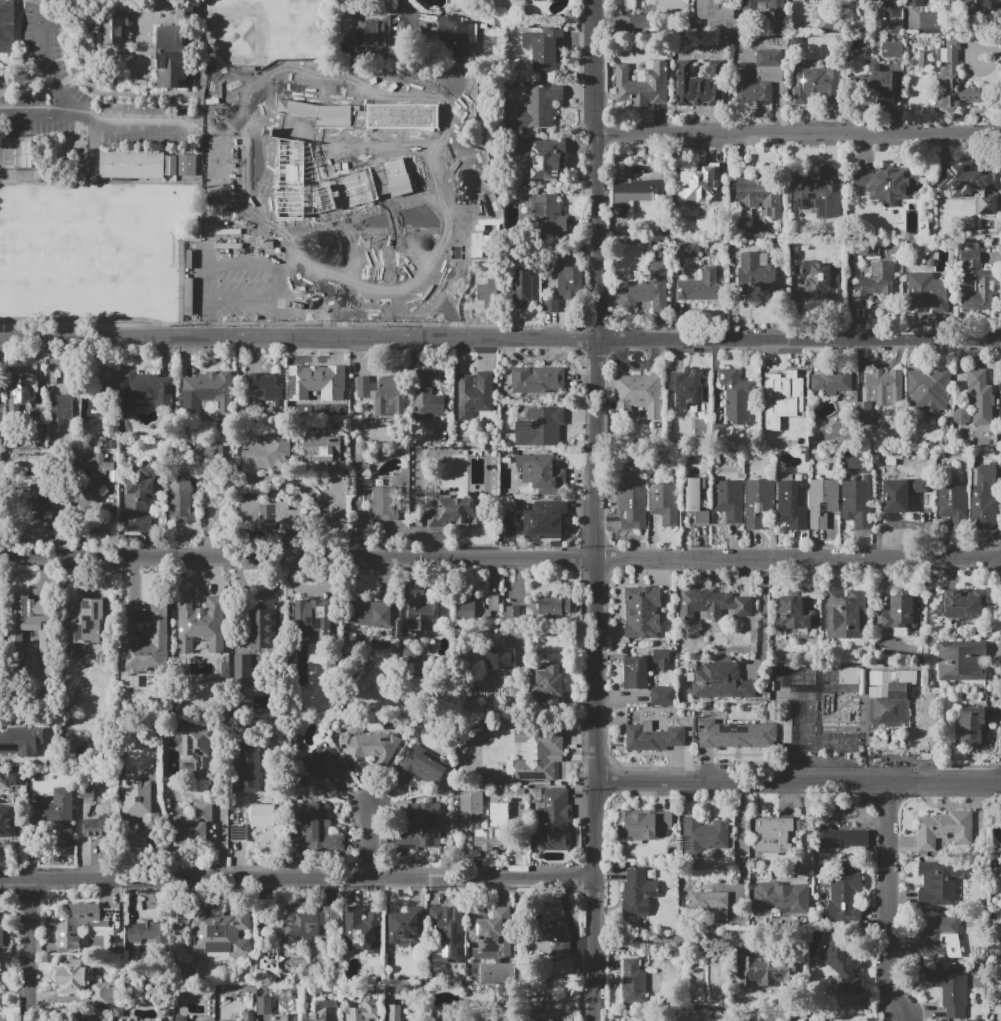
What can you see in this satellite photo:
building: (916, 3)
building: (762, 5)
building: (980, 7)
road: (405, 10)
building: (714, 10)
building: (889, 10)
building: (186, 12)
building: (634, 22)
building: (929, 22)
building: (9, 27)
building: (112, 27)
building: (896, 30)
building: (369, 31)
park: (266, 33)
park: (269, 33)
road: (331, 35)
building: (456, 39)
building: (893, 49)
building: (541, 51)
building: (170, 56)
building: (922, 58)
road: (44, 60)
road: (593, 66)
road: (269, 71)
road: (25, 76)
road: (351, 77)
building: (760, 77)
building: (872, 78)
building: (954, 80)
building: (816, 82)
park: (305, 84)
building: (642, 84)
building: (700, 84)
road: (51, 86)
road: (429, 91)
road: (21, 92)
road: (175, 94)
parking lot: (71, 97)
building: (406, 104)
building: (540, 106)
road: (39, 111)
road: (136, 123)
road: (222, 130)
road: (797, 132)
road: (210, 139)
building: (396, 158)
building: (547, 159)
building: (293, 160)
road: (342, 161)
building: (132, 165)
building: (170, 165)
building: (187, 165)
building: (698, 183)
building: (887, 183)
building: (968, 186)
building: (638, 187)
building: (819, 192)
building: (760, 194)
road: (421, 197)
building: (402, 212)
building: (546, 214)
road: (596, 237)
road: (222, 248)
building: (869, 248)
building: (686, 250)
road: (332, 252)
park: (88, 253)
parking lot: (304, 264)
building: (384, 264)
building: (756, 271)
building: (820, 279)
building: (569, 281)
building: (875, 283)
building: (975, 284)
building: (701, 287)
building: (646, 289)
building: (522, 290)
building: (927, 291)
building: (488, 294)
road: (332, 295)
road: (442, 295)
building: (551, 306)
road: (265, 339)
road: (563, 340)
road: (798, 343)
road: (638, 363)
building: (103, 378)
building: (537, 380)
building: (832, 381)
building: (312, 382)
building: (20, 384)
building: (268, 386)
building: (792, 388)
building: (929, 389)
building: (145, 390)
building: (206, 390)
building: (690, 390)
building: (381, 391)
building: (879, 392)
building: (734, 393)
building: (640, 394)
building: (426, 395)
building: (475, 397)
building: (979, 397)
building: (60, 407)
building: (960, 416)
building: (769, 422)
building: (541, 428)
road: (594, 450)
building: (206, 452)
building: (266, 452)
building: (325, 454)
building: (23, 460)
building: (95, 463)
building: (541, 472)
building: (903, 492)
building: (984, 498)
building: (698, 500)
building: (139, 501)
building: (179, 501)
building: (730, 501)
building: (857, 501)
building: (634, 502)
building: (760, 502)
building: (823, 502)
building: (666, 503)
building: (385, 504)
building: (793, 504)
building: (954, 504)
building: (41, 506)
building: (456, 513)
building: (271, 515)
building: (544, 517)
road: (297, 560)
road: (797, 560)
building: (714, 603)
building: (965, 603)
building: (550, 606)
building: (477, 608)
building: (510, 612)
building: (421, 613)
building: (642, 613)
building: (372, 614)
building: (793, 614)
building: (900, 614)
building: (847, 615)
road: (762, 618)
building: (312, 620)
building: (85, 622)
building: (32, 624)
building: (201, 625)
building: (261, 628)
building: (731, 639)
building: (147, 645)
building: (663, 659)
building: (500, 660)
building: (411, 661)
building: (963, 661)
building: (242, 670)
road: (594, 671)
building: (636, 674)
building: (784, 676)
building: (548, 682)
building: (721, 682)
building: (664, 696)
building: (890, 698)
building: (69, 703)
building: (971, 724)
building: (736, 735)
building: (817, 735)
building: (653, 737)
building: (488, 740)
building: (22, 741)
building: (369, 748)
building: (197, 752)
building: (535, 754)
building: (506, 759)
building: (319, 765)
building: (421, 766)
building: (249, 768)
road: (797, 781)
building: (141, 799)
building: (81, 809)
building: (263, 815)
building: (56, 816)
building: (554, 820)
building: (7, 821)
building: (642, 824)
building: (195, 826)
building: (422, 826)
building: (96, 827)
building: (316, 827)
building: (496, 827)
building: (944, 829)
road: (222, 832)
building: (772, 834)
building: (704, 835)
building: (841, 838)
road: (807, 839)
road: (371, 842)
road: (742, 844)
road: (297, 876)
building: (939, 882)
building: (638, 892)
building: (844, 896)
building: (781, 898)
road: (894, 899)
road: (595, 900)
building: (710, 903)
building: (77, 923)
building: (313, 924)
building: (405, 926)
building: (1, 929)
building: (143, 931)
building: (362, 931)
building: (222, 933)
building: (449, 933)
building: (492, 933)
building: (936, 936)
building: (551, 937)
road: (672, 940)
road: (29, 949)
building: (576, 961)
building: (842, 965)
building: (758, 971)
building: (73, 975)
building: (633, 981)
building: (950, 989)
building: (104, 993)
building: (321, 1010)
building: (363, 1012)
building: (394, 1012)
building: (248, 1016)
building: (287, 1017)
building: (181, 1018)
building: (541, 1019)
building: (222, 1020)
building: (489, 1020)

